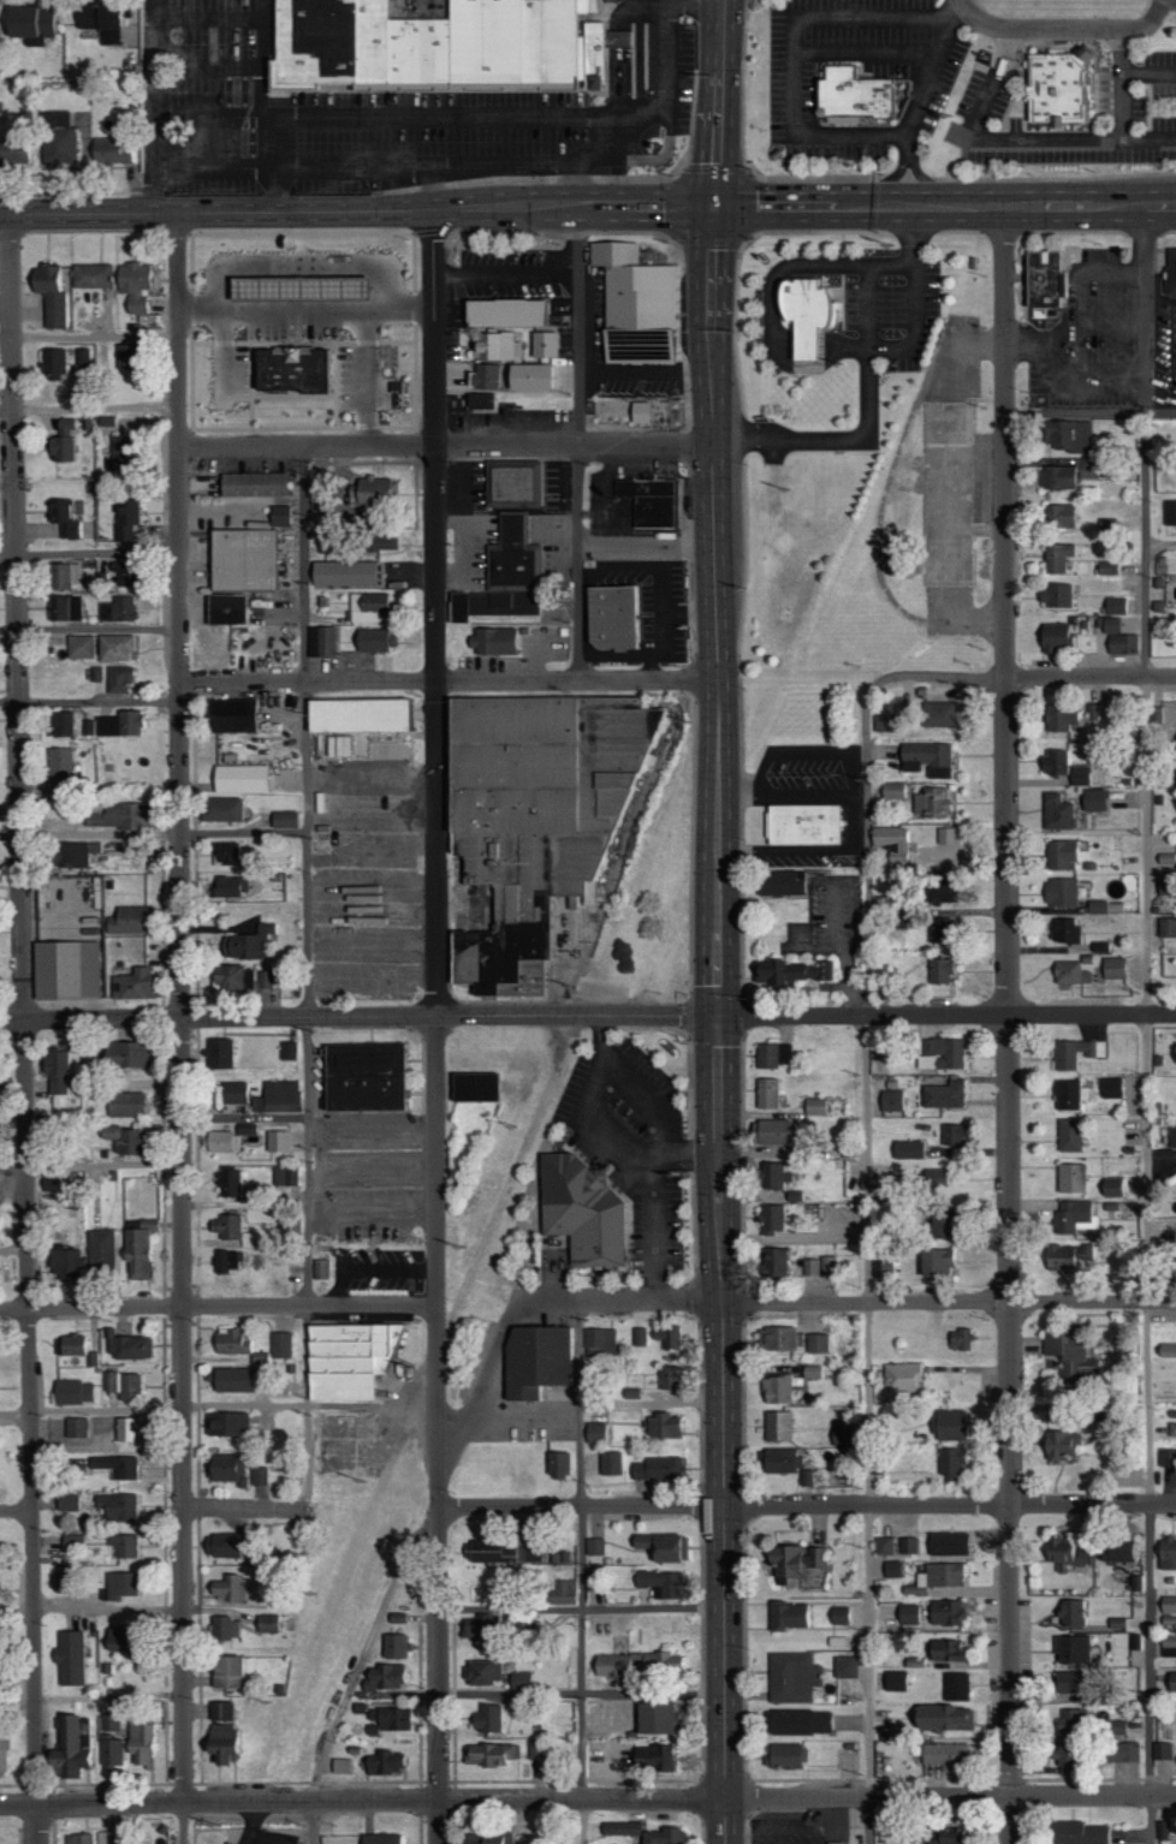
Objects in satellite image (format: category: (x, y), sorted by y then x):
building: (94, 18)
road: (208, 19)
building: (29, 25)
road: (1065, 25)
building: (108, 37)
building: (618, 40)
building: (440, 43)
road: (798, 50)
road: (869, 50)
road: (623, 58)
road: (669, 66)
road: (208, 67)
parking lot: (677, 69)
road: (1150, 72)
parking lot: (860, 76)
building: (1061, 85)
parking lot: (1138, 91)
building: (856, 94)
road: (920, 102)
road: (718, 105)
road: (153, 106)
road: (262, 108)
road: (207, 117)
road: (443, 117)
road: (616, 121)
parking lot: (335, 124)
road: (634, 136)
building: (58, 139)
road: (1043, 141)
road: (1150, 141)
building: (14, 151)
building: (111, 151)
road: (645, 157)
road: (364, 166)
road: (576, 171)
road: (946, 207)
traffic signals: (717, 209)
road: (357, 212)
building: (1171, 270)
road: (505, 274)
building: (1050, 278)
building: (94, 280)
building: (133, 287)
building: (49, 296)
building: (639, 302)
building: (808, 311)
parking lot: (893, 313)
building: (503, 315)
road: (917, 328)
road: (5, 334)
building: (292, 334)
gas station: (292, 334)
road: (94, 335)
building: (542, 345)
building: (493, 347)
building: (124, 357)
building: (83, 358)
building: (53, 364)
road: (1057, 373)
building: (485, 377)
road: (874, 385)
building: (479, 401)
road: (89, 408)
road: (1089, 409)
building: (637, 414)
building: (65, 427)
building: (1065, 436)
road: (445, 445)
road: (576, 445)
building: (61, 450)
building: (120, 454)
building: (1055, 478)
road: (6, 483)
building: (251, 486)
building: (512, 487)
building: (948, 490)
building: (374, 493)
building: (653, 499)
building: (1169, 513)
building: (278, 516)
building: (1058, 517)
building: (64, 521)
building: (124, 521)
building: (1105, 524)
building: (379, 542)
road: (645, 543)
road: (89, 551)
building: (513, 557)
building: (1057, 558)
building: (240, 561)
building: (1106, 570)
building: (341, 575)
building: (64, 577)
building: (119, 578)
building: (1055, 597)
building: (491, 606)
building: (1115, 607)
building: (65, 608)
building: (368, 608)
building: (117, 611)
building: (226, 611)
road: (717, 612)
building: (616, 615)
building: (1110, 626)
road: (90, 627)
building: (1052, 638)
building: (374, 641)
building: (320, 643)
building: (493, 643)
building: (1121, 646)
building: (79, 648)
building: (114, 649)
road: (1091, 678)
building: (118, 682)
road: (450, 682)
road: (90, 701)
building: (1092, 713)
building: (938, 715)
building: (1156, 716)
building: (230, 718)
building: (354, 718)
building: (1058, 720)
building: (884, 722)
building: (70, 724)
building: (124, 725)
building: (926, 759)
building: (1052, 763)
building: (66, 768)
building: (1077, 777)
building: (1175, 778)
building: (238, 780)
road: (866, 784)
building: (893, 791)
building: (1092, 802)
building: (932, 803)
building: (220, 811)
building: (1057, 814)
building: (127, 815)
building: (535, 820)
building: (283, 821)
building: (808, 825)
road: (153, 833)
building: (892, 843)
building: (85, 853)
building: (225, 855)
building: (1061, 856)
building: (782, 882)
building: (228, 888)
building: (1059, 894)
building: (1095, 908)
building: (138, 920)
building: (1166, 928)
building: (939, 932)
building: (1063, 932)
building: (250, 942)
building: (1099, 947)
building: (1112, 969)
building: (73, 970)
building: (938, 972)
building: (789, 974)
building: (1069, 975)
building: (243, 977)
road: (305, 980)
building: (141, 985)
road: (179, 1009)
traffic signals: (719, 1016)
road: (946, 1016)
road: (358, 1017)
road: (1009, 1024)
road: (1147, 1025)
road: (436, 1027)
road: (23, 1029)
building: (89, 1043)
building: (291, 1051)
building: (131, 1053)
building: (221, 1053)
building: (1075, 1053)
building: (942, 1054)
building: (772, 1055)
building: (59, 1071)
building: (369, 1076)
road: (598, 1076)
building: (479, 1087)
building: (1111, 1088)
building: (237, 1093)
building: (767, 1093)
building: (943, 1094)
building: (1069, 1094)
building: (281, 1098)
building: (891, 1100)
building: (129, 1104)
building: (815, 1106)
building: (70, 1112)
road: (373, 1128)
building: (249, 1129)
building: (770, 1132)
building: (952, 1134)
building: (1069, 1135)
building: (1171, 1137)
building: (131, 1140)
building: (277, 1141)
building: (224, 1142)
building: (907, 1149)
building: (100, 1153)
road: (89, 1164)
road: (373, 1164)
building: (459, 1173)
building: (287, 1176)
building: (772, 1176)
building: (934, 1177)
building: (1070, 1178)
building: (232, 1180)
building: (53, 1182)
building: (1111, 1188)
building: (265, 1190)
road: (655, 1196)
road: (372, 1208)
building: (584, 1211)
building: (1074, 1217)
building: (771, 1219)
building: (144, 1224)
building: (296, 1224)
building: (942, 1224)
building: (230, 1226)
building: (0, 1236)
building: (251, 1238)
building: (141, 1253)
building: (103, 1256)
building: (1065, 1256)
building: (231, 1260)
building: (771, 1262)
building: (936, 1262)
building: (69, 1263)
road: (373, 1266)
building: (826, 1266)
building: (810, 1267)
building: (322, 1268)
building: (881, 1268)
building: (1, 1272)
road: (849, 1303)
road: (218, 1305)
building: (640, 1337)
building: (669, 1338)
building: (779, 1339)
building: (958, 1339)
building: (230, 1342)
building: (599, 1343)
building: (816, 1343)
building: (71, 1345)
building: (125, 1345)
building: (279, 1345)
building: (1068, 1356)
building: (352, 1358)
building: (539, 1360)
building: (812, 1373)
building: (666, 1378)
building: (901, 1378)
building: (232, 1379)
road: (487, 1380)
building: (125, 1386)
building: (278, 1390)
building: (777, 1390)
building: (73, 1392)
building: (630, 1394)
road: (651, 1400)
road: (219, 1405)
building: (226, 1424)
building: (663, 1426)
building: (777, 1426)
building: (945, 1426)
building: (78, 1427)
building: (125, 1429)
road: (724, 1429)
road: (868, 1429)
building: (1171, 1429)
building: (595, 1433)
building: (837, 1436)
building: (1059, 1444)
building: (1166, 1458)
building: (774, 1461)
building: (951, 1462)
building: (557, 1463)
building: (610, 1463)
building: (123, 1468)
building: (224, 1469)
building: (657, 1469)
building: (1, 1473)
building: (257, 1476)
building: (804, 1477)
building: (76, 1501)
building: (123, 1505)
road: (807, 1506)
road: (247, 1510)
road: (16, 1511)
building: (78, 1541)
building: (948, 1543)
building: (130, 1545)
building: (221, 1545)
building: (595, 1546)
building: (884, 1546)
building: (907, 1546)
building: (661, 1547)
building: (1064, 1552)
building: (1116, 1552)
building: (507, 1553)
building: (1166, 1553)
building: (795, 1560)
building: (891, 1570)
road: (582, 1572)
building: (939, 1576)
building: (69, 1581)
building: (660, 1583)
building: (1135, 1583)
building: (127, 1586)
building: (0, 1589)
building: (226, 1590)
building: (563, 1593)
building: (1168, 1604)
road: (582, 1607)
road: (91, 1608)
building: (948, 1612)
building: (1070, 1613)
building: (907, 1614)
building: (788, 1616)
building: (838, 1616)
building: (267, 1623)
building: (228, 1625)
building: (475, 1628)
building: (137, 1637)
building: (393, 1646)
building: (1168, 1646)
building: (1070, 1649)
building: (945, 1650)
building: (77, 1656)
building: (635, 1664)
building: (844, 1666)
road: (356, 1668)
building: (236, 1671)
building: (482, 1672)
building: (386, 1678)
building: (791, 1678)
building: (895, 1681)
building: (521, 1682)
building: (1071, 1683)
building: (955, 1688)
road: (582, 1690)
road: (91, 1695)
building: (227, 1709)
building: (487, 1719)
building: (652, 1719)
building: (942, 1719)
building: (388, 1720)
building: (115, 1721)
building: (796, 1723)
building: (1067, 1723)
building: (1115, 1727)
building: (148, 1741)
building: (232, 1743)
building: (78, 1745)
building: (533, 1749)
building: (119, 1750)
building: (1175, 1750)
building: (7, 1751)
building: (1162, 1751)
building: (1119, 1753)
building: (1062, 1754)
building: (489, 1755)
building: (944, 1755)
building: (784, 1756)
building: (651, 1757)
building: (384, 1763)
building: (339, 1766)
road: (587, 1792)
road: (587, 1801)
building: (618, 1830)
building: (1079, 1833)
building: (117, 1837)
building: (661, 1837)
building: (942, 1837)
building: (87, 1838)
building: (379, 1838)
building: (487, 1838)
building: (231, 1843)

